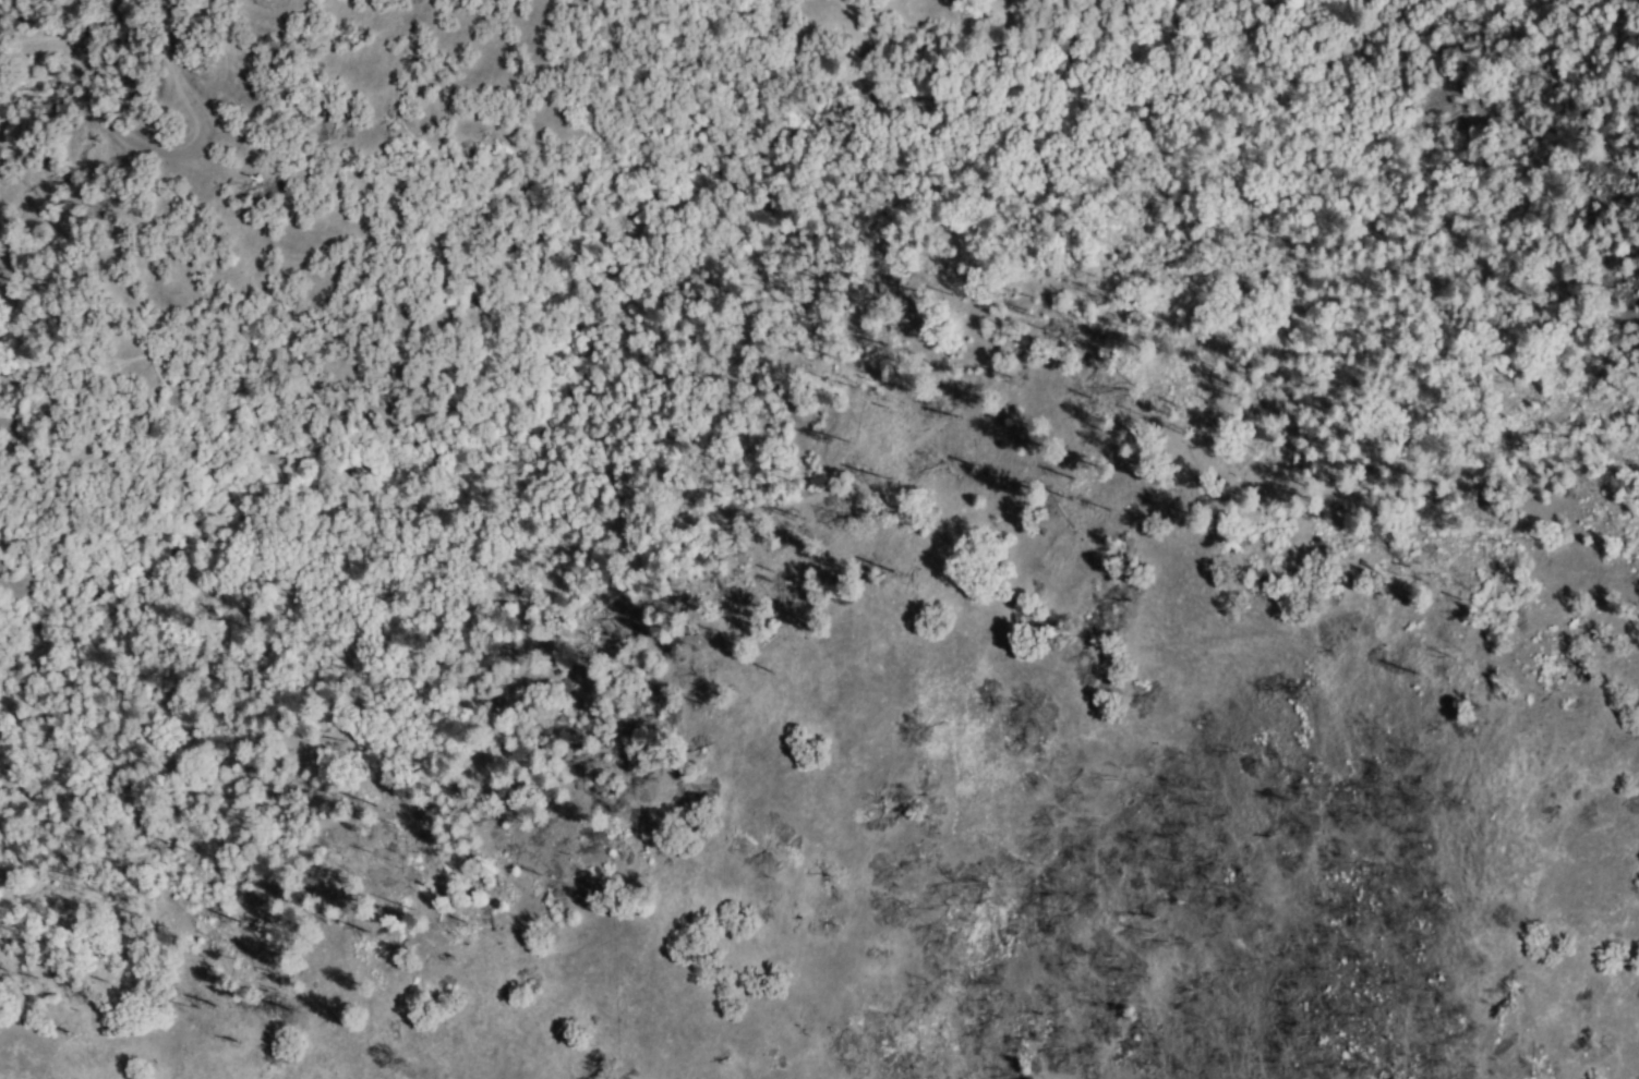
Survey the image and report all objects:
road: (590, 577)

